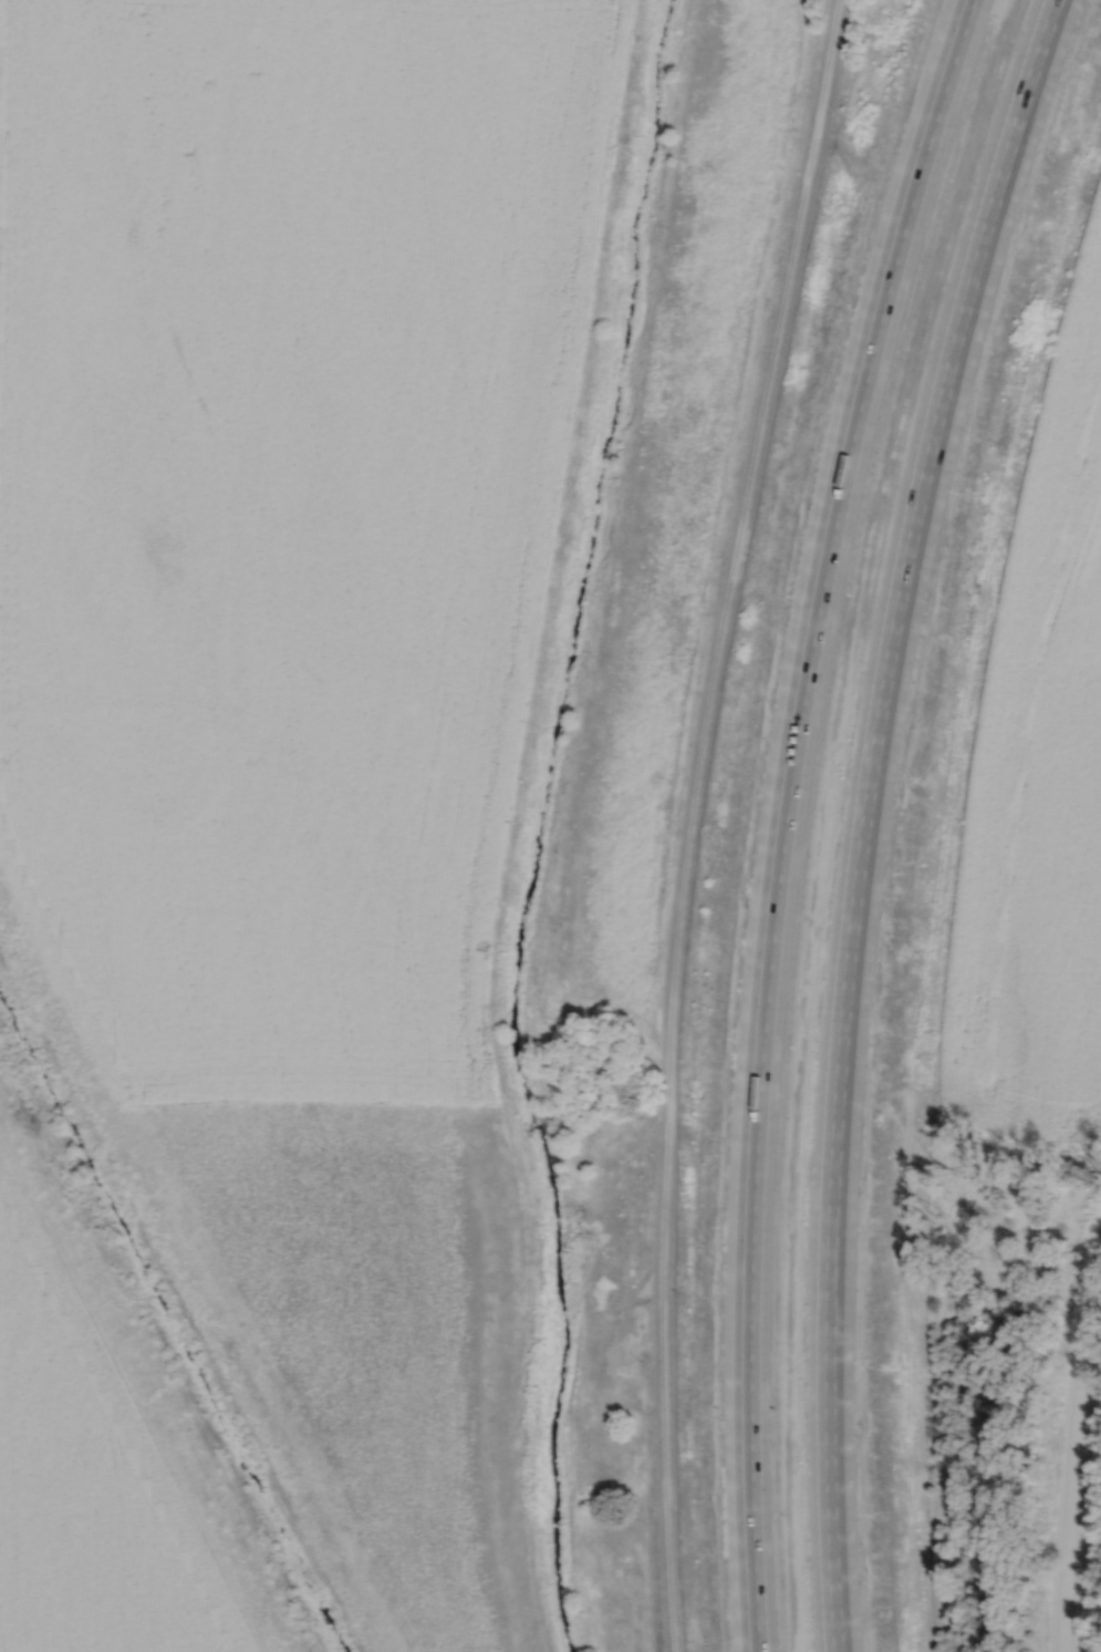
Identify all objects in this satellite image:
road: (802, 815)
road: (889, 815)
road: (692, 819)
road: (1071, 1465)

